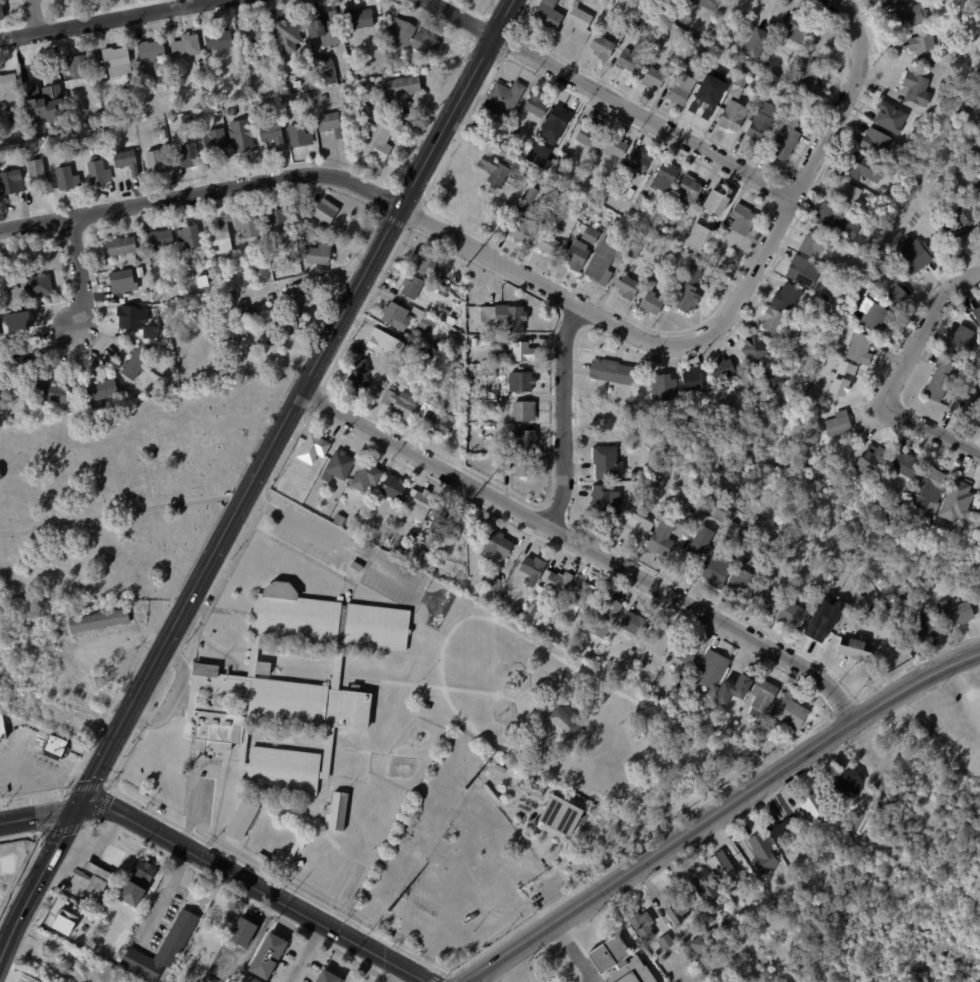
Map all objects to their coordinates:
building: (871, 1)
building: (708, 2)
building: (689, 8)
building: (3, 10)
building: (660, 11)
road: (846, 12)
building: (908, 13)
building: (544, 14)
road: (35, 15)
road: (125, 15)
building: (360, 19)
building: (574, 21)
building: (636, 26)
building: (326, 28)
building: (795, 29)
road: (18, 33)
building: (254, 34)
building: (289, 35)
building: (413, 38)
building: (221, 40)
building: (659, 41)
building: (755, 44)
building: (187, 47)
building: (600, 47)
building: (922, 48)
building: (153, 54)
building: (686, 55)
building: (628, 57)
building: (260, 58)
building: (118, 61)
building: (200, 65)
building: (79, 66)
building: (329, 71)
building: (40, 74)
building: (356, 74)
building: (653, 77)
building: (808, 80)
building: (736, 85)
building: (403, 87)
building: (9, 89)
building: (914, 89)
building: (679, 90)
building: (767, 93)
road: (603, 94)
building: (323, 97)
building: (503, 97)
building: (701, 98)
building: (175, 100)
building: (535, 106)
building: (233, 111)
building: (295, 111)
building: (731, 116)
building: (17, 117)
building: (888, 117)
building: (760, 122)
building: (555, 123)
building: (331, 124)
building: (273, 130)
building: (510, 131)
building: (378, 132)
building: (163, 134)
building: (300, 135)
building: (587, 135)
building: (174, 136)
building: (244, 136)
building: (911, 136)
building: (102, 140)
building: (782, 141)
building: (873, 141)
building: (216, 142)
building: (615, 147)
building: (976, 155)
building: (189, 157)
building: (546, 158)
building: (561, 159)
building: (636, 161)
building: (127, 162)
building: (588, 163)
building: (159, 164)
building: (862, 169)
building: (100, 173)
building: (501, 173)
building: (41, 175)
building: (625, 176)
building: (68, 179)
building: (661, 181)
building: (12, 184)
building: (973, 185)
road: (203, 192)
building: (844, 192)
building: (611, 193)
building: (629, 193)
building: (687, 193)
building: (529, 195)
road: (795, 195)
building: (639, 203)
building: (555, 209)
building: (716, 210)
building: (326, 212)
building: (870, 213)
building: (741, 219)
building: (616, 220)
building: (834, 222)
building: (587, 224)
building: (248, 225)
building: (278, 225)
building: (522, 227)
building: (662, 228)
building: (959, 231)
building: (191, 237)
building: (697, 237)
building: (163, 239)
building: (222, 240)
building: (858, 243)
building: (547, 244)
building: (812, 244)
building: (122, 247)
building: (633, 251)
building: (322, 254)
building: (576, 256)
building: (915, 256)
building: (420, 262)
building: (602, 262)
power tower: (465, 263)
building: (799, 271)
road: (78, 272)
building: (141, 272)
building: (191, 276)
building: (124, 281)
building: (253, 282)
road: (542, 283)
building: (410, 286)
building: (626, 287)
building: (35, 289)
building: (687, 291)
building: (299, 296)
building: (231, 297)
building: (783, 297)
building: (270, 298)
building: (895, 298)
building: (649, 300)
building: (230, 306)
building: (247, 310)
building: (442, 314)
building: (976, 315)
building: (394, 316)
building: (504, 317)
building: (130, 318)
building: (873, 318)
building: (769, 320)
building: (290, 322)
building: (426, 325)
building: (19, 326)
building: (144, 330)
building: (244, 330)
road: (924, 330)
building: (485, 341)
building: (961, 342)
building: (390, 345)
building: (432, 345)
building: (752, 348)
building: (857, 349)
building: (521, 353)
building: (138, 361)
building: (2, 364)
building: (720, 369)
building: (487, 372)
building: (609, 372)
building: (357, 374)
building: (0, 377)
building: (691, 379)
building: (842, 379)
building: (937, 381)
building: (519, 382)
building: (771, 383)
building: (662, 388)
building: (607, 390)
building: (100, 391)
building: (53, 393)
building: (751, 395)
building: (486, 401)
building: (965, 403)
building: (398, 404)
building: (0, 406)
building: (521, 412)
road: (564, 414)
building: (663, 416)
building: (978, 419)
building: (433, 420)
building: (685, 421)
building: (837, 425)
road: (931, 430)
building: (521, 442)
building: (312, 449)
building: (634, 457)
building: (867, 460)
building: (604, 463)
building: (338, 465)
building: (901, 465)
building: (518, 466)
road: (254, 476)
building: (632, 476)
building: (675, 477)
building: (363, 478)
building: (652, 483)
building: (393, 488)
park: (123, 490)
building: (925, 490)
building: (603, 503)
building: (716, 503)
building: (953, 503)
building: (418, 504)
building: (978, 511)
building: (684, 519)
building: (336, 521)
building: (924, 523)
building: (440, 525)
building: (730, 526)
building: (633, 531)
power tower: (466, 532)
road: (334, 539)
building: (658, 540)
building: (698, 543)
road: (586, 545)
building: (495, 547)
building: (399, 548)
parking lot: (353, 550)
building: (422, 554)
building: (758, 558)
building: (355, 566)
building: (531, 567)
building: (716, 572)
building: (836, 574)
building: (557, 582)
building: (742, 584)
building: (494, 585)
building: (507, 591)
building: (577, 599)
building: (209, 601)
building: (762, 603)
building: (531, 607)
building: (953, 615)
building: (789, 616)
building: (602, 617)
building: (326, 619)
building: (101, 622)
building: (537, 623)
building: (817, 623)
building: (632, 625)
building: (921, 628)
building: (658, 639)
building: (639, 649)
building: (853, 650)
building: (683, 652)
building: (262, 667)
building: (710, 670)
road: (176, 688)
building: (731, 691)
building: (760, 699)
building: (269, 705)
building: (426, 707)
building: (789, 712)
building: (3, 729)
building: (759, 740)
building: (53, 745)
power tower: (468, 760)
building: (282, 769)
road: (43, 776)
building: (844, 785)
road: (17, 789)
building: (531, 789)
road: (193, 792)
road: (44, 795)
parking lot: (208, 795)
building: (868, 800)
building: (810, 805)
traffic signals: (76, 809)
road: (720, 812)
road: (37, 815)
building: (560, 815)
building: (244, 820)
building: (781, 831)
building: (301, 845)
building: (761, 853)
building: (298, 863)
building: (720, 865)
building: (782, 875)
building: (147, 876)
building: (98, 878)
building: (741, 879)
road: (255, 885)
building: (705, 890)
building: (131, 893)
road: (163, 895)
power tower: (387, 910)
building: (673, 913)
building: (66, 920)
building: (724, 920)
park: (889, 921)
building: (641, 925)
building: (246, 932)
building: (665, 942)
building: (699, 948)
building: (164, 949)
building: (104, 951)
road: (573, 951)
road: (309, 953)
building: (271, 956)
building: (619, 962)
building: (330, 977)
building: (26, 978)
building: (253, 979)

